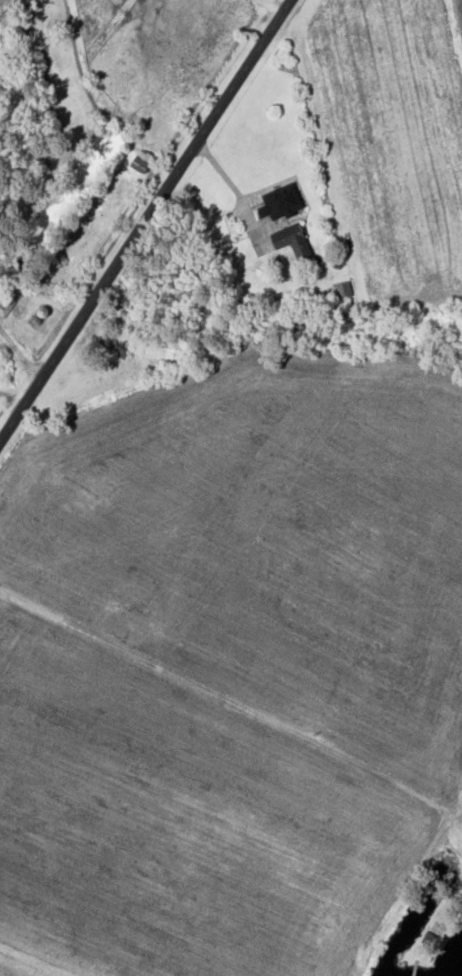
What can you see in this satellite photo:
building: (143, 163)
road: (223, 179)
building: (282, 205)
road: (144, 216)
building: (293, 243)
building: (5, 307)
building: (117, 348)
road: (222, 695)

